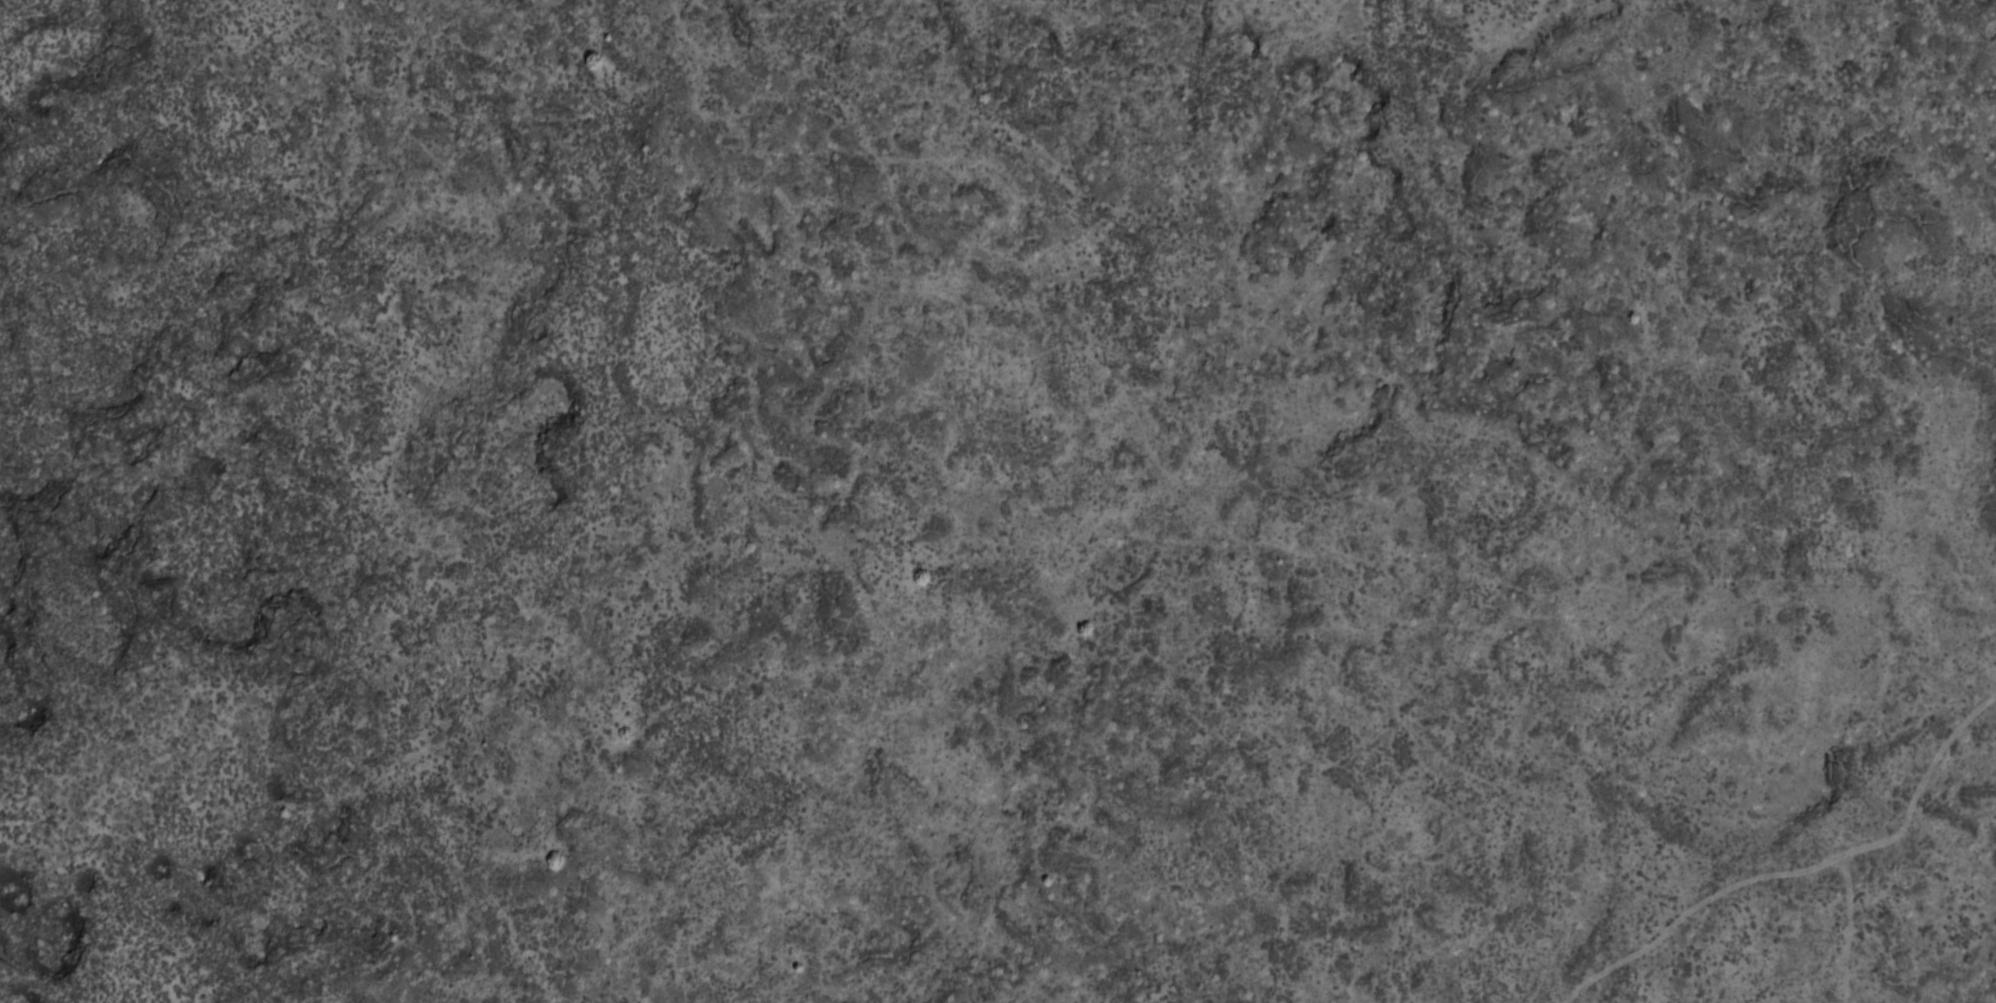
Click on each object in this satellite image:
road: (1801, 871)

